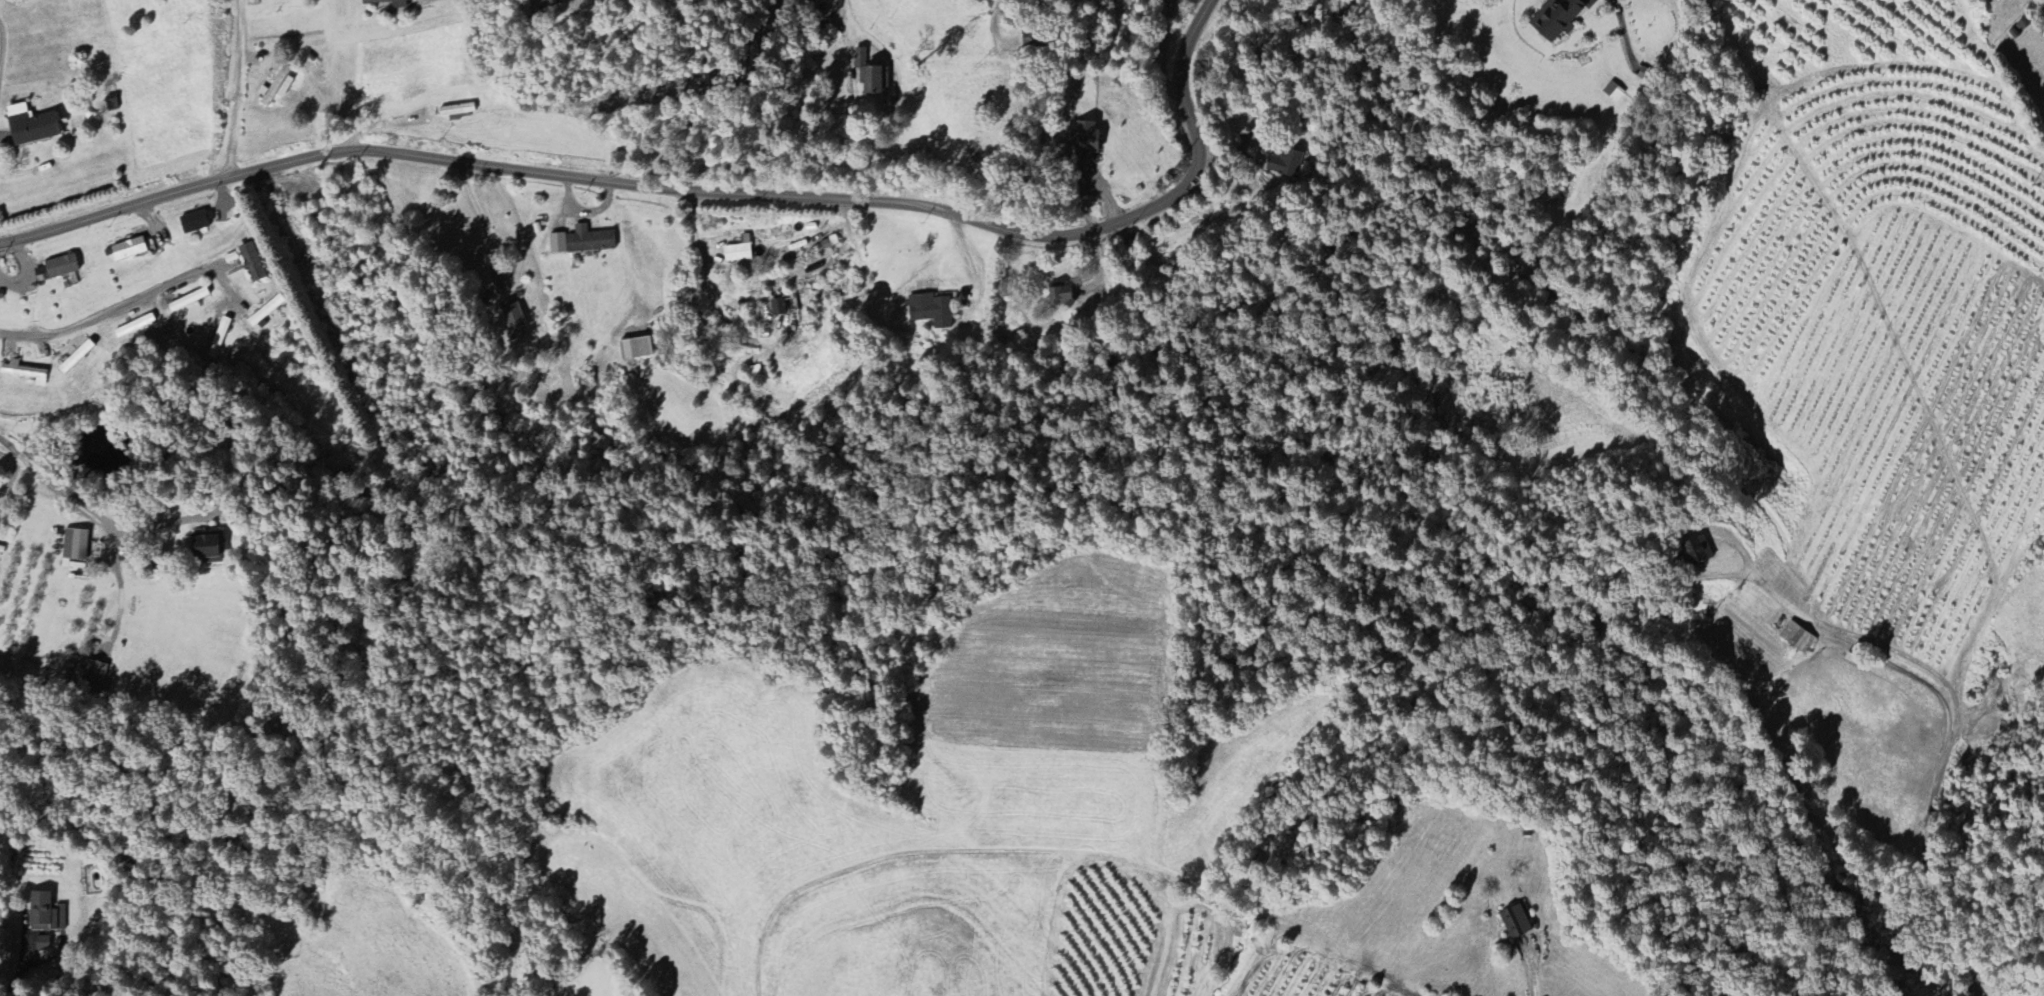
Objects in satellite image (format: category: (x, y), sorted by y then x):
building: (387, 4)
building: (539, 4)
building: (1556, 19)
road: (1624, 32)
building: (2043, 36)
road: (1, 44)
building: (871, 74)
road: (1052, 79)
building: (2043, 86)
building: (276, 87)
road: (239, 88)
building: (1613, 93)
building: (29, 125)
building: (1084, 141)
road: (781, 164)
building: (1286, 164)
road: (695, 189)
road: (481, 220)
building: (196, 222)
building: (589, 241)
building: (557, 244)
building: (129, 250)
building: (739, 254)
building: (253, 263)
building: (61, 267)
building: (1060, 296)
building: (189, 301)
building: (777, 308)
building: (931, 311)
road: (102, 314)
building: (513, 318)
building: (219, 339)
building: (635, 349)
building: (76, 358)
building: (24, 373)
road: (56, 487)
building: (74, 547)
building: (207, 549)
building: (1697, 552)
road: (121, 593)
building: (1797, 639)
building: (91, 676)
road: (1955, 710)
building: (45, 914)
building: (1515, 923)
building: (42, 944)
road: (19, 952)
road: (1532, 970)

